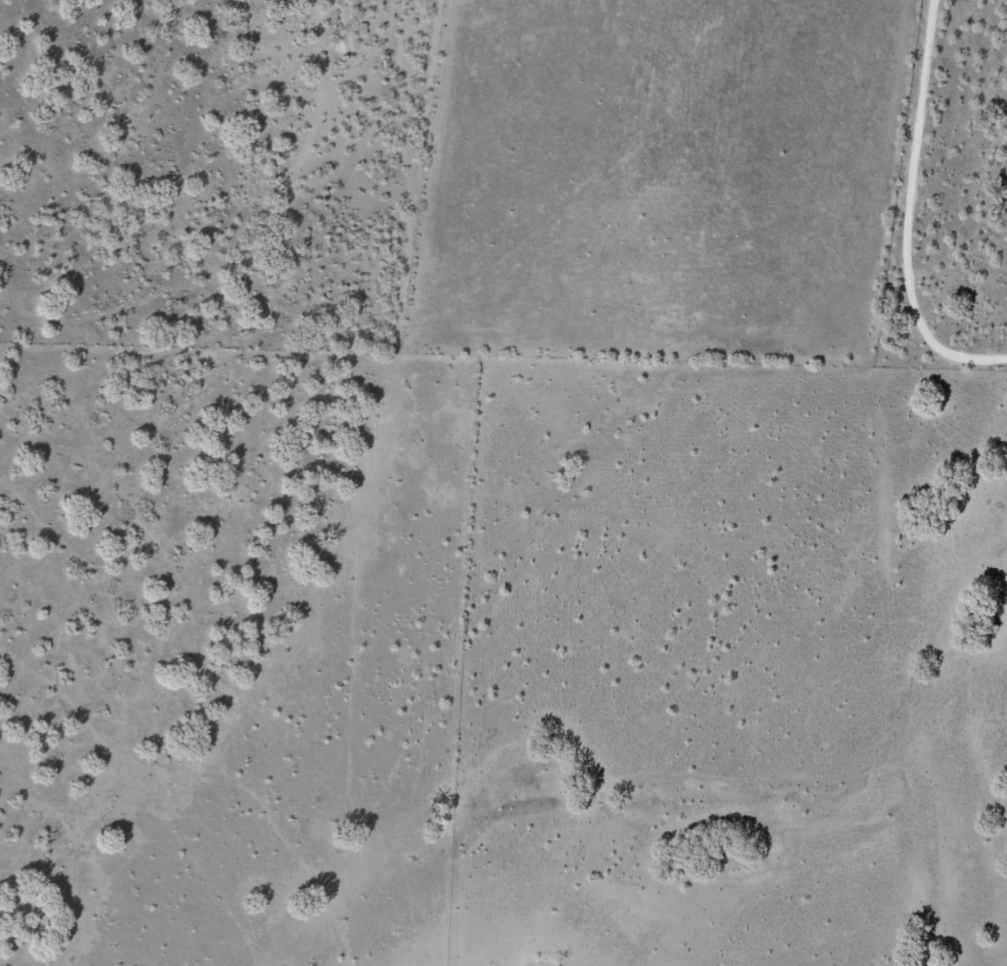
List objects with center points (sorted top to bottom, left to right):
road: (206, 698)

